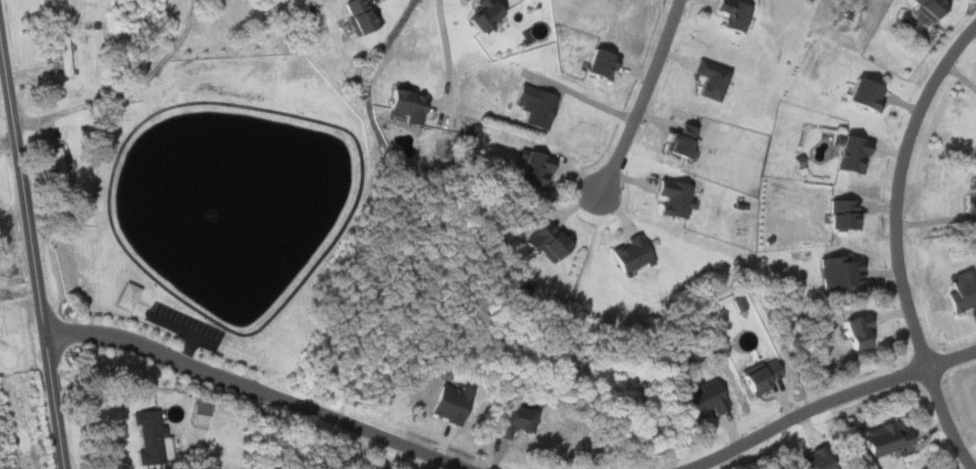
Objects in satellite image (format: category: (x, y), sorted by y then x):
building: (926, 6)
building: (478, 14)
building: (729, 14)
building: (357, 15)
road: (446, 48)
building: (62, 55)
building: (596, 63)
building: (708, 79)
road: (583, 86)
road: (3, 89)
road: (115, 93)
building: (861, 95)
road: (640, 97)
building: (403, 105)
building: (532, 106)
road: (253, 108)
building: (676, 141)
building: (848, 155)
building: (57, 168)
building: (532, 171)
road: (897, 187)
building: (670, 198)
building: (970, 201)
building: (839, 215)
building: (543, 240)
building: (629, 254)
road: (31, 258)
building: (836, 272)
building: (959, 292)
building: (125, 296)
road: (179, 328)
building: (854, 331)
road: (186, 349)
building: (756, 377)
building: (975, 387)
road: (255, 391)
building: (702, 398)
road: (826, 400)
building: (445, 404)
road: (102, 409)
building: (197, 415)
building: (511, 420)
road: (945, 420)
building: (881, 439)
building: (811, 460)

